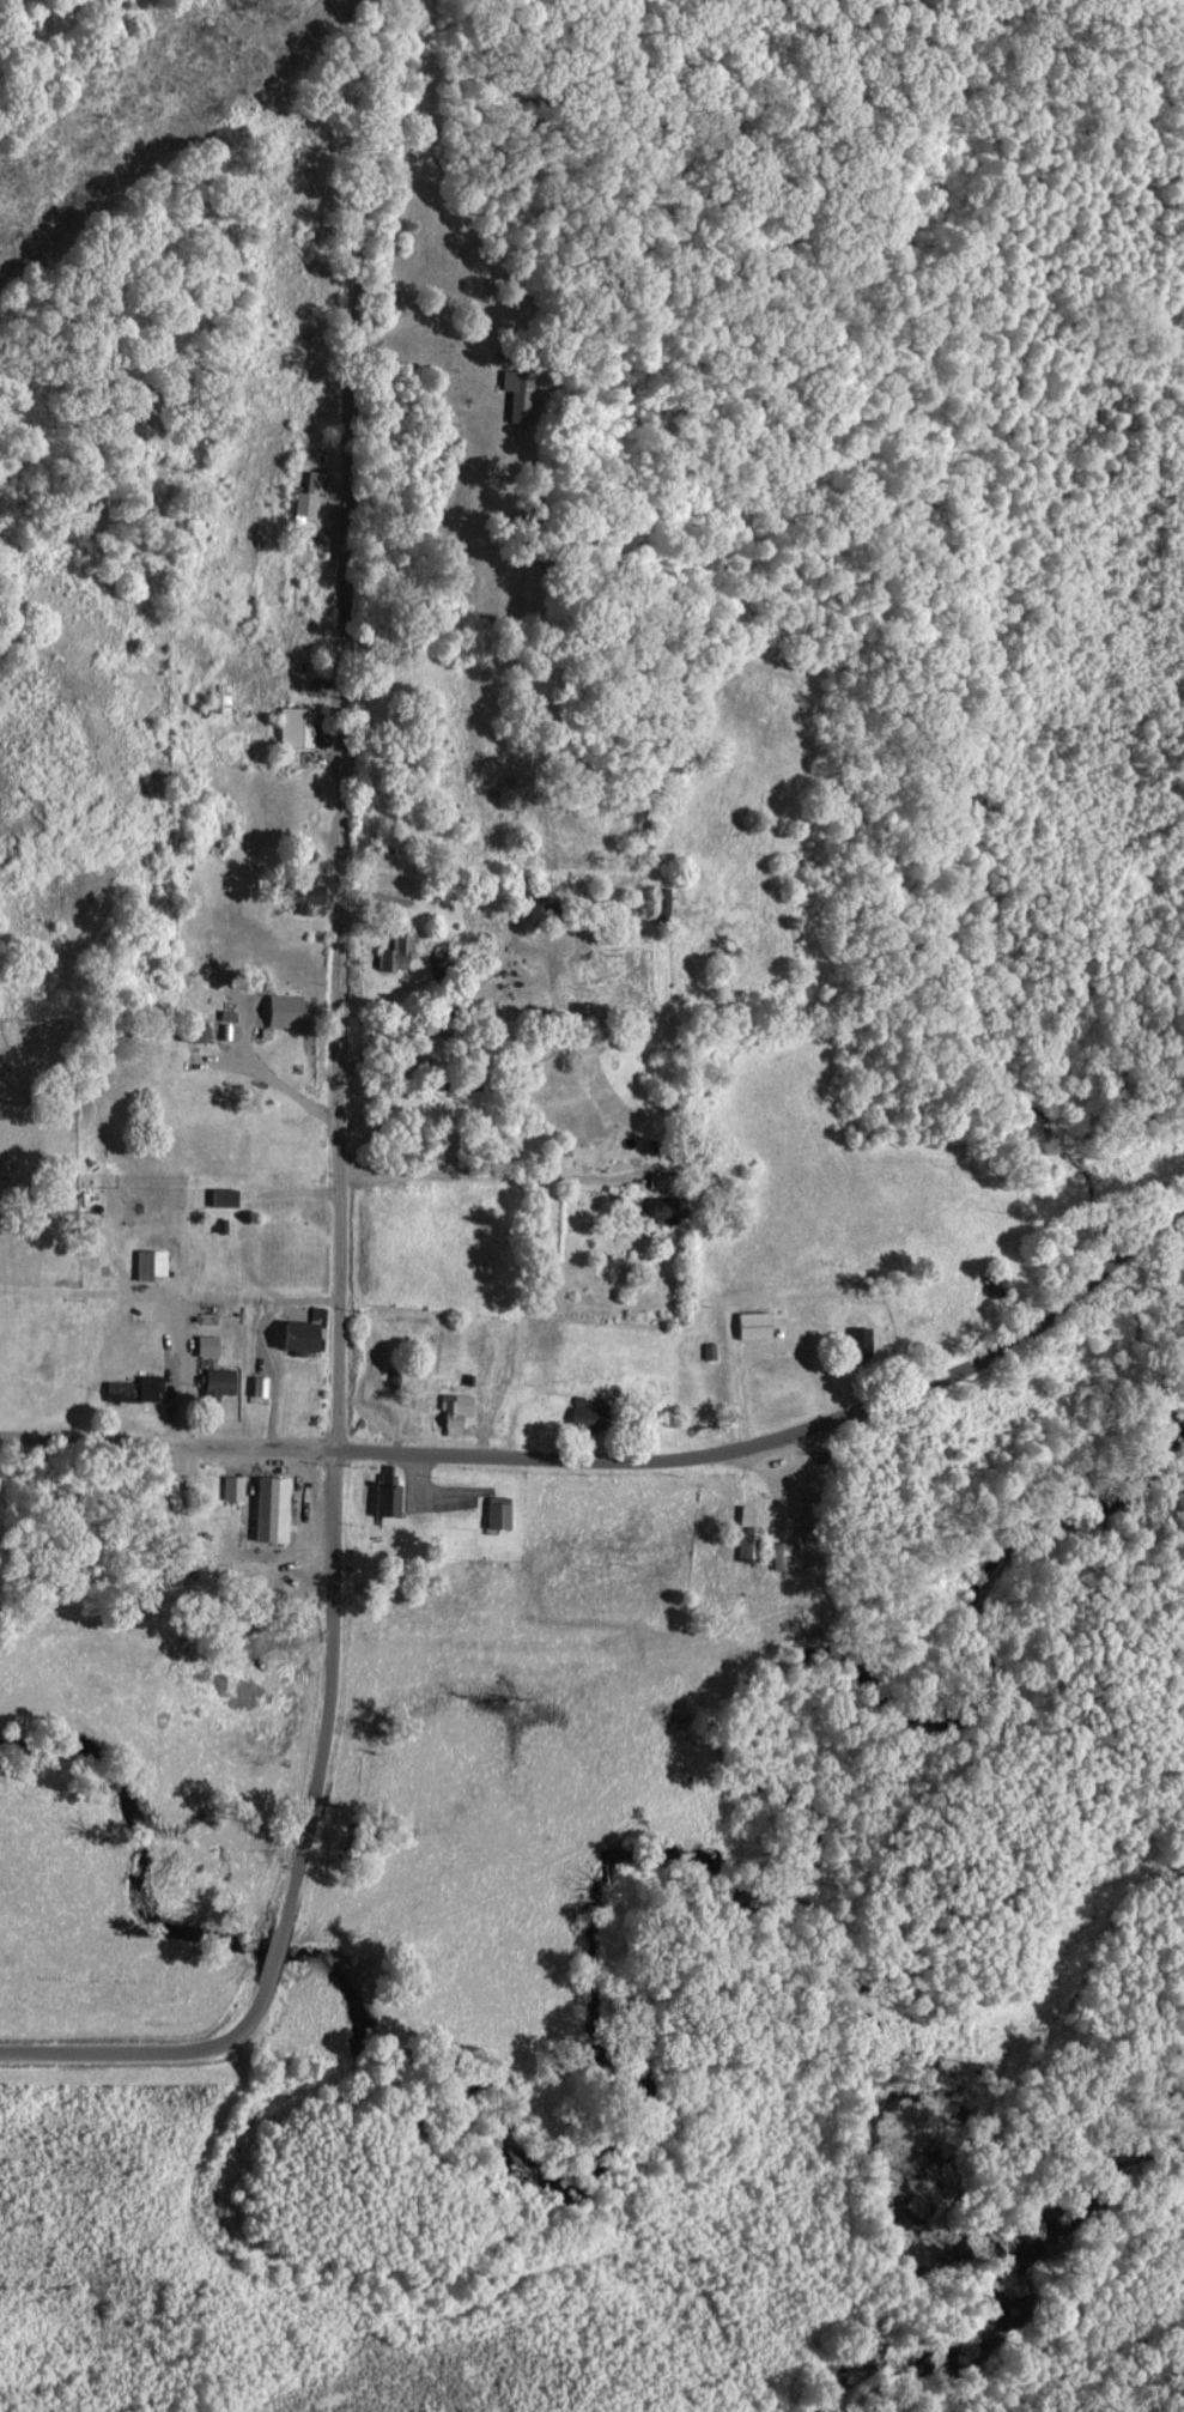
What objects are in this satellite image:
power tower: (262, 6)
building: (303, 497)
building: (298, 725)
road: (344, 725)
building: (312, 896)
building: (395, 949)
building: (289, 1010)
road: (496, 1177)
building: (227, 1195)
building: (154, 1262)
building: (759, 1323)
building: (306, 1334)
building: (863, 1337)
building: (211, 1344)
road: (177, 1376)
building: (223, 1380)
building: (261, 1384)
building: (136, 1389)
building: (461, 1412)
building: (593, 1416)
road: (626, 1457)
building: (236, 1486)
building: (395, 1504)
building: (277, 1508)
building: (503, 1510)
building: (751, 1514)
building: (748, 1549)
building: (787, 1555)
road: (302, 1868)

